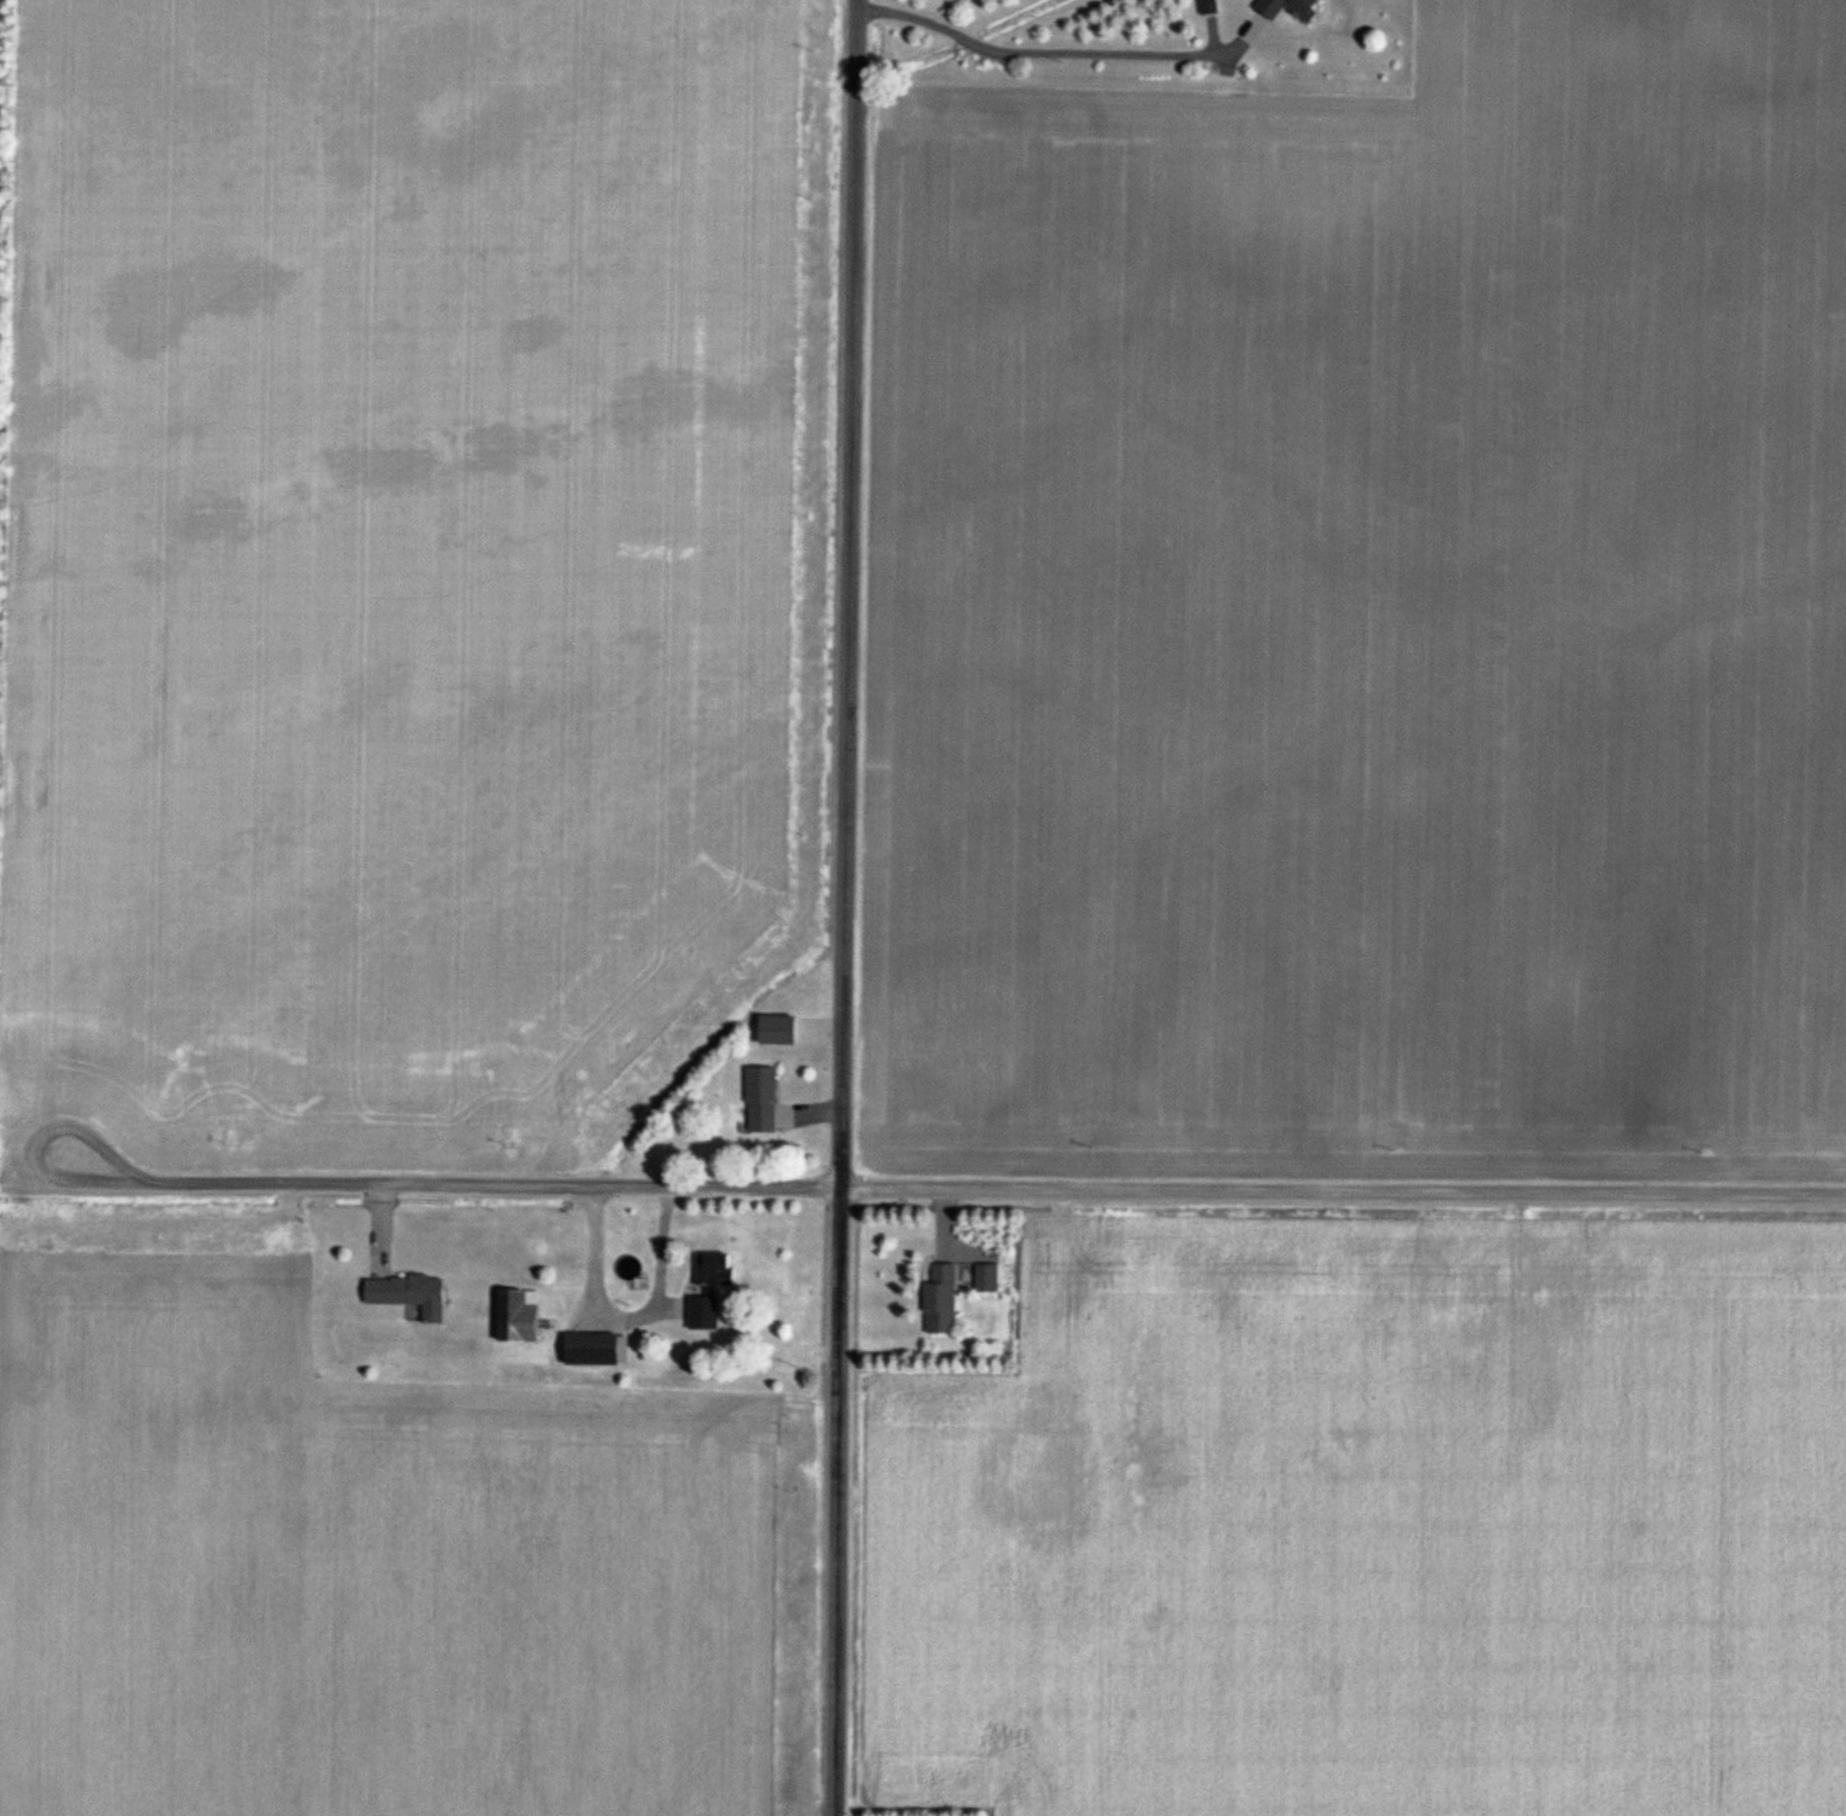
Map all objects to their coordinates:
building: (1288, 8)
road: (1038, 43)
road: (839, 907)
building: (777, 1032)
building: (761, 1102)
road: (954, 1187)
building: (709, 1291)
building: (954, 1295)
building: (409, 1296)
building: (518, 1319)
building: (591, 1351)

